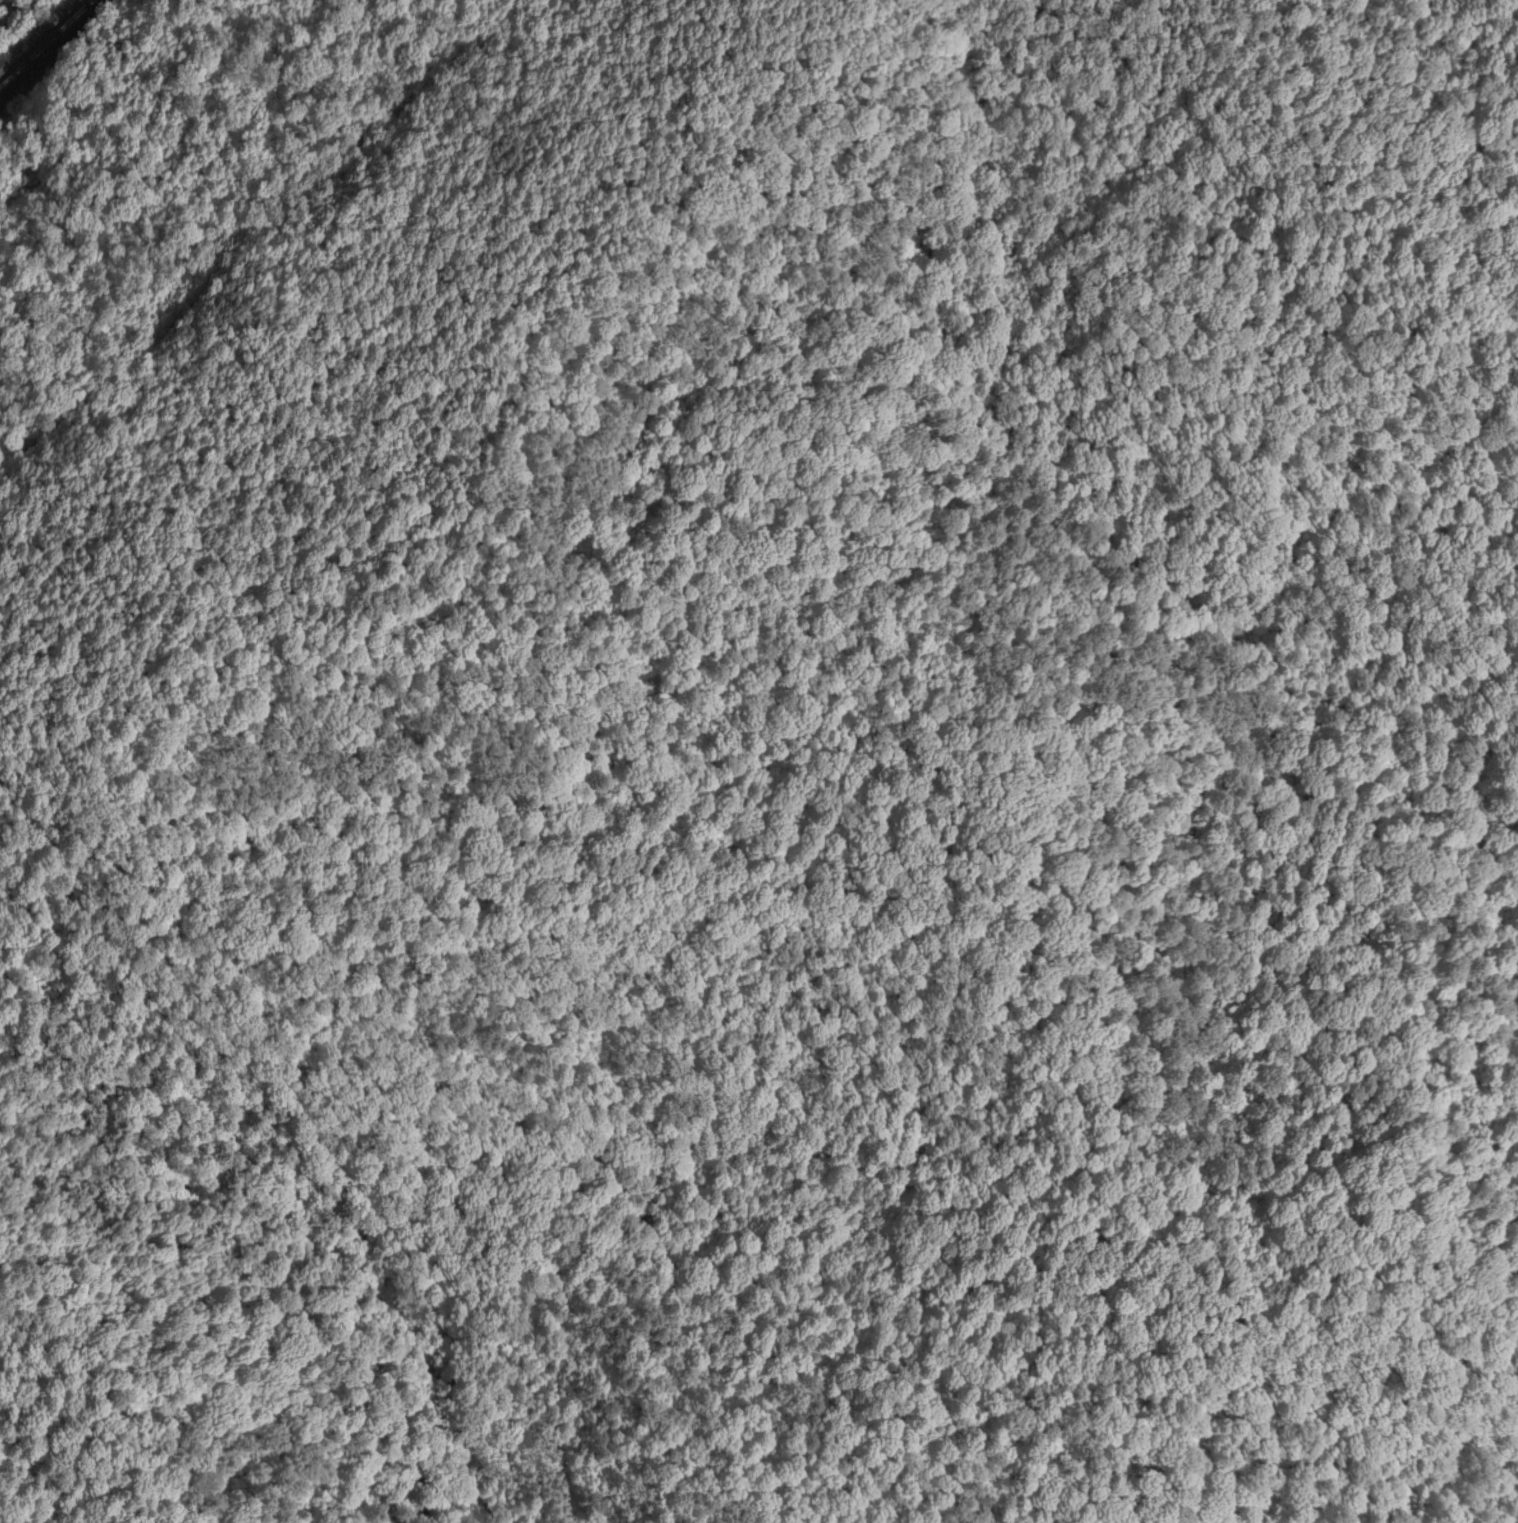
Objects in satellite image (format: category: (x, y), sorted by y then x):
railway: (49, 48)
railway: (56, 54)
road: (299, 1238)
road: (1142, 1345)

